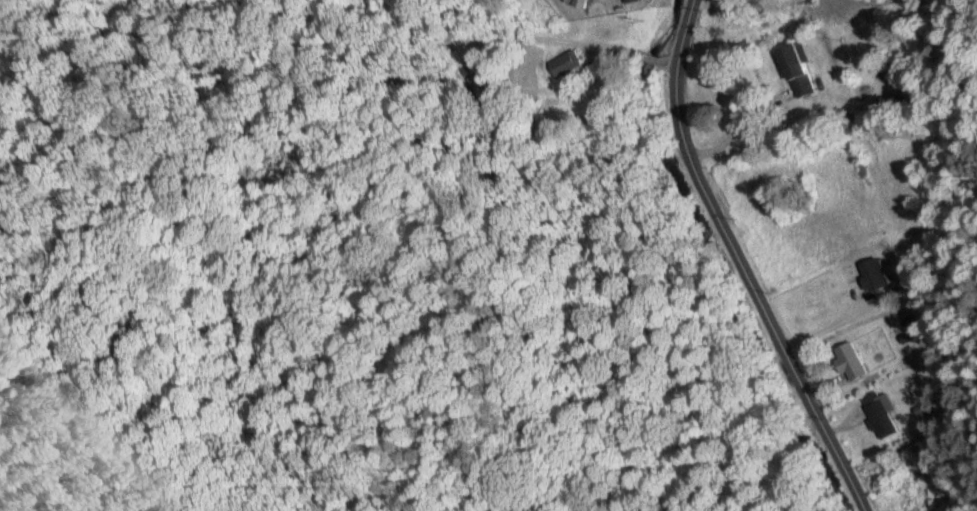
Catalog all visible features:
building: (576, 3)
building: (564, 63)
building: (796, 68)
road: (742, 265)
building: (869, 273)
building: (847, 359)
building: (877, 413)

